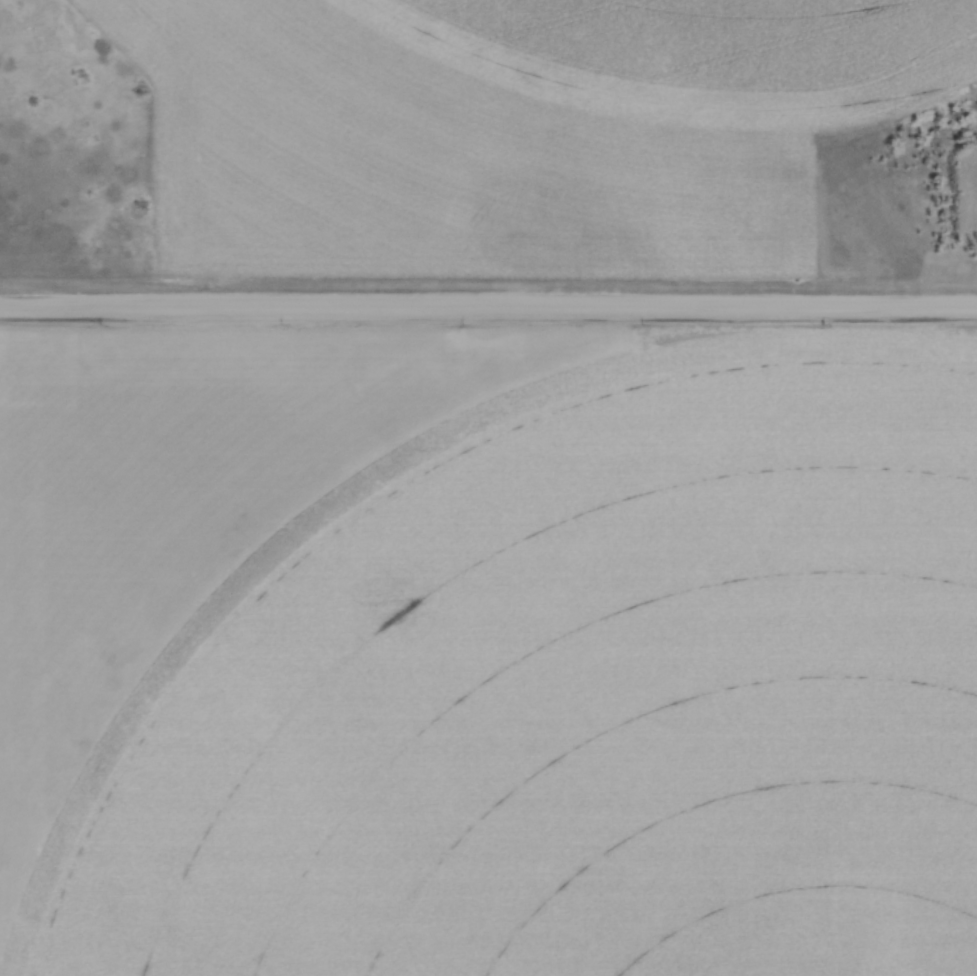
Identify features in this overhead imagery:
road: (488, 306)

